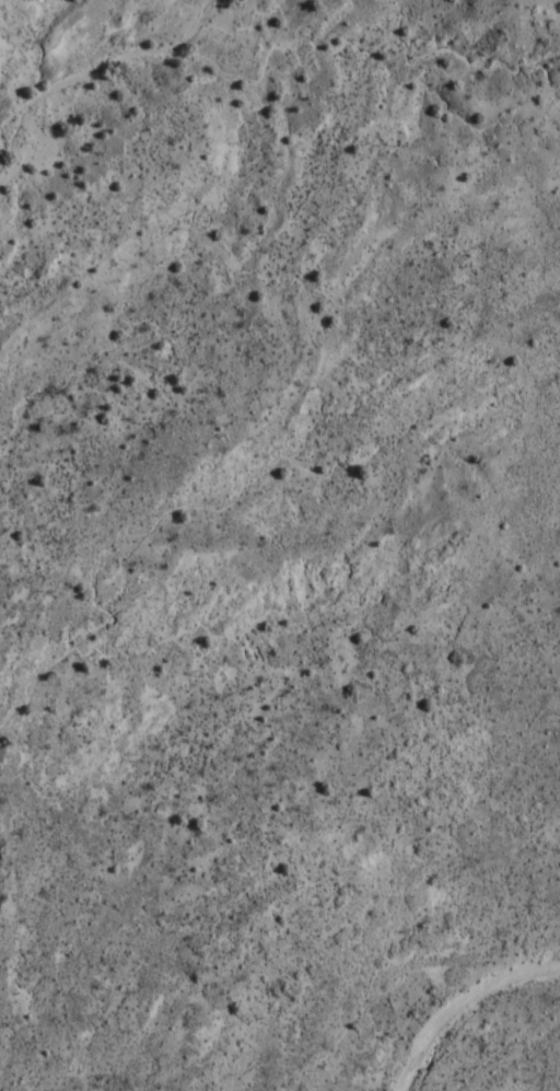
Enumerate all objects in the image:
road: (455, 1002)

